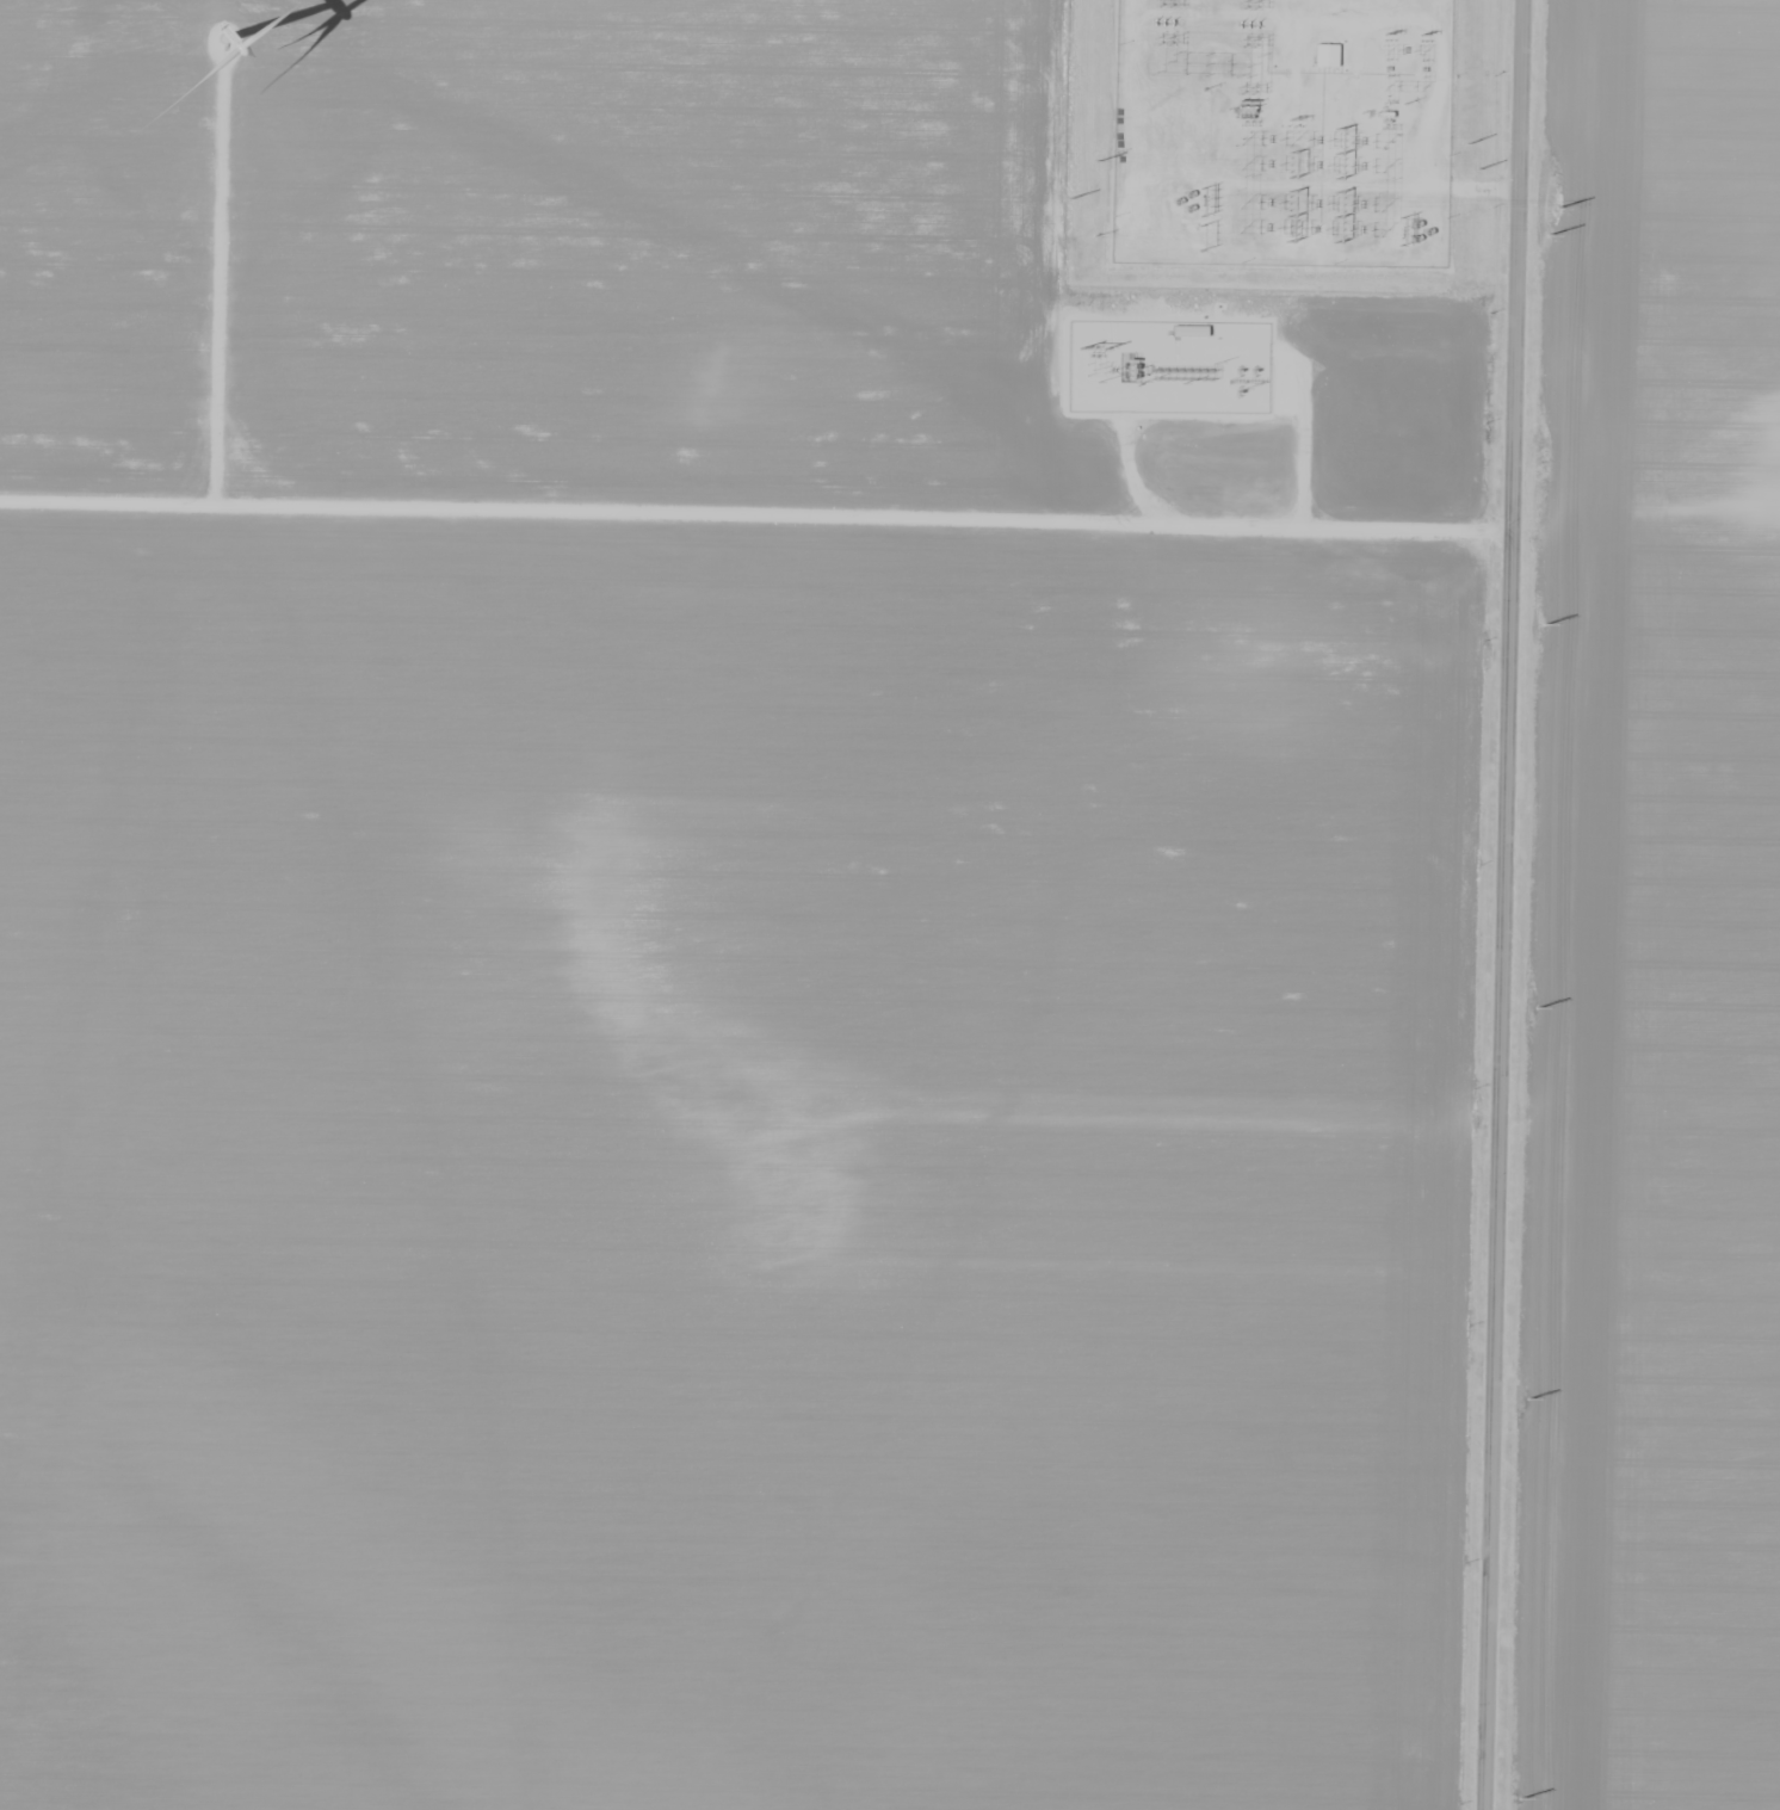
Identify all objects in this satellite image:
wind turbine: (229, 31)
power tower: (1386, 35)
power tower: (1422, 36)
building: (1324, 55)
power tower: (1293, 121)
power substation: (1280, 131)
power tower: (1466, 144)
power tower: (1096, 161)
power tower: (1477, 171)
power tower: (1069, 197)
power tower: (1557, 209)
power tower: (1547, 235)
power substation: (1166, 366)
power tower: (1545, 628)
road: (1503, 904)
power tower: (1534, 1009)
power tower: (1528, 1400)
power tower: (1519, 1800)

